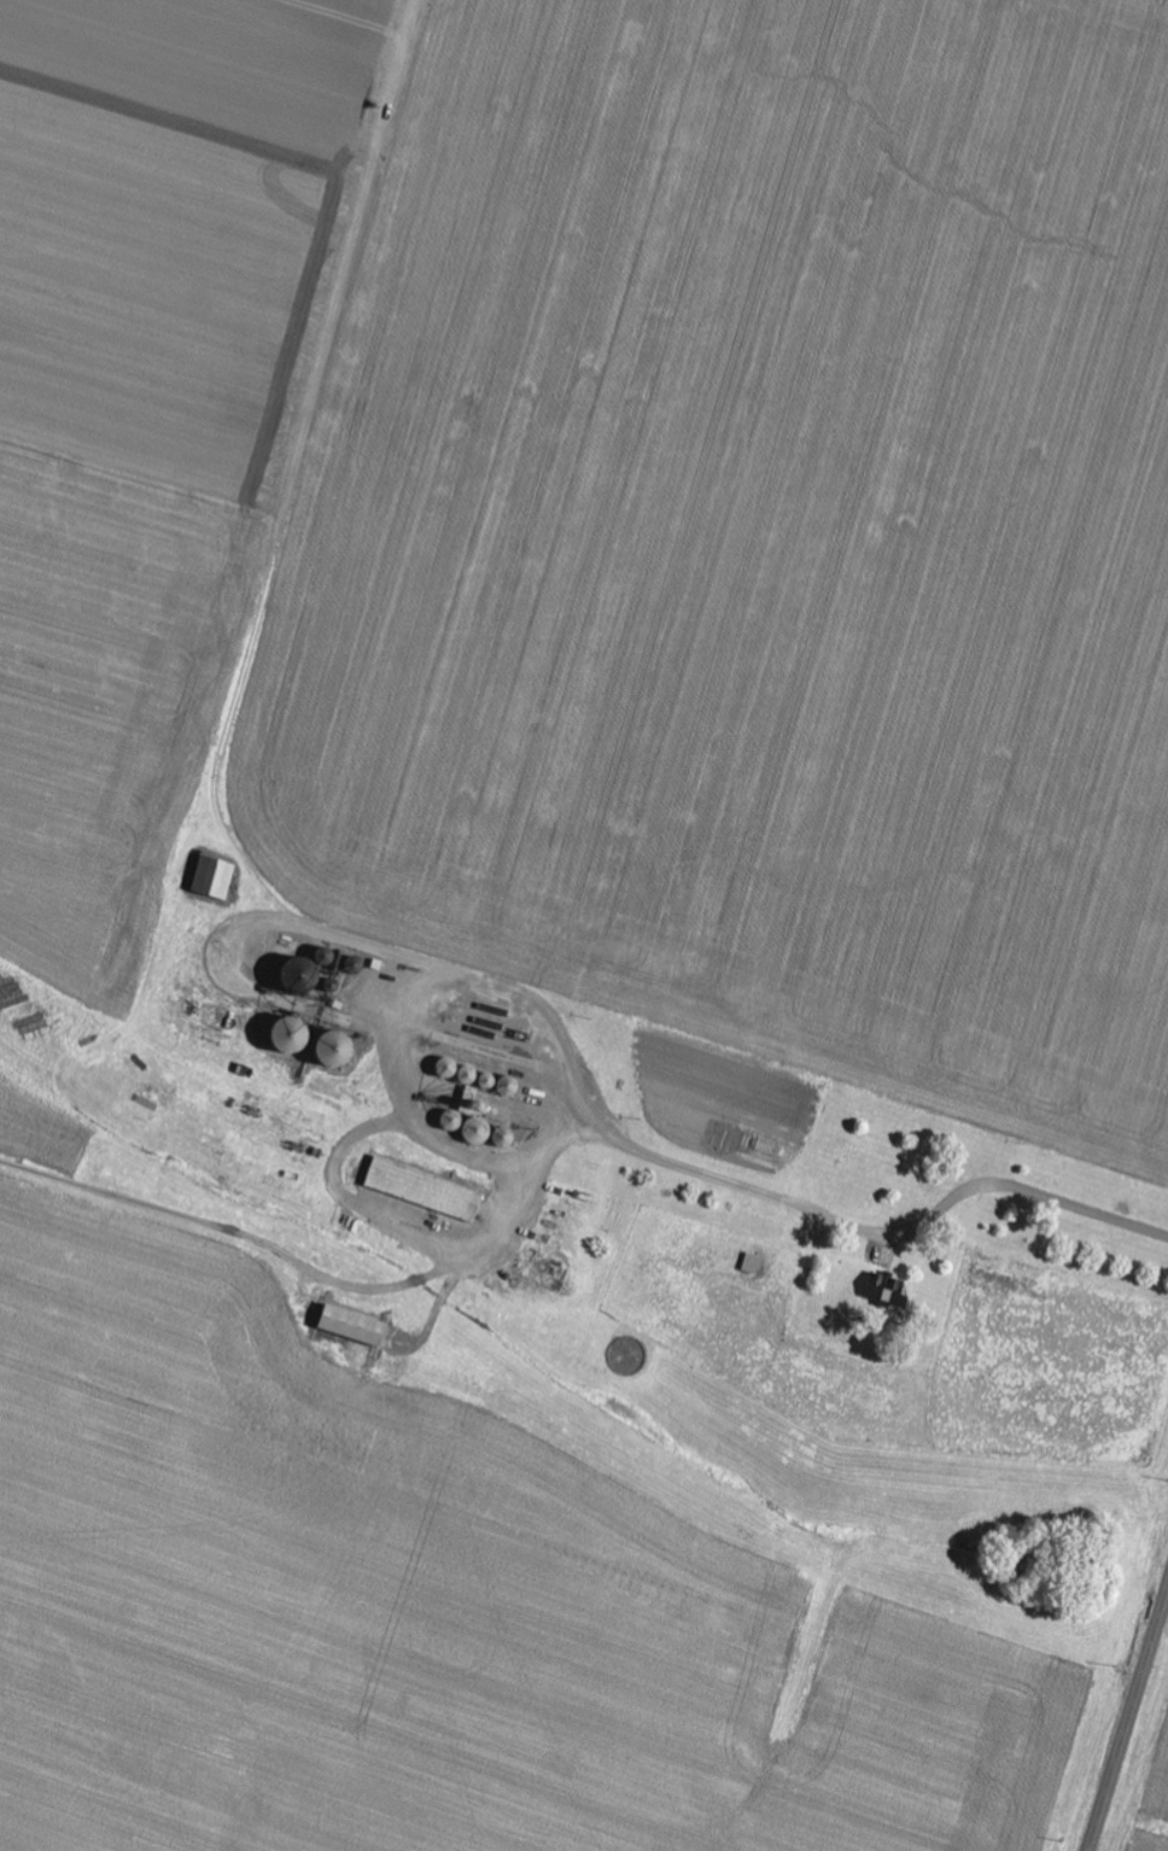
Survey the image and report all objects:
building: (215, 877)
road: (577, 1012)
building: (426, 1190)
building: (886, 1292)
building: (356, 1326)
road: (1128, 1718)
road: (1144, 1754)

